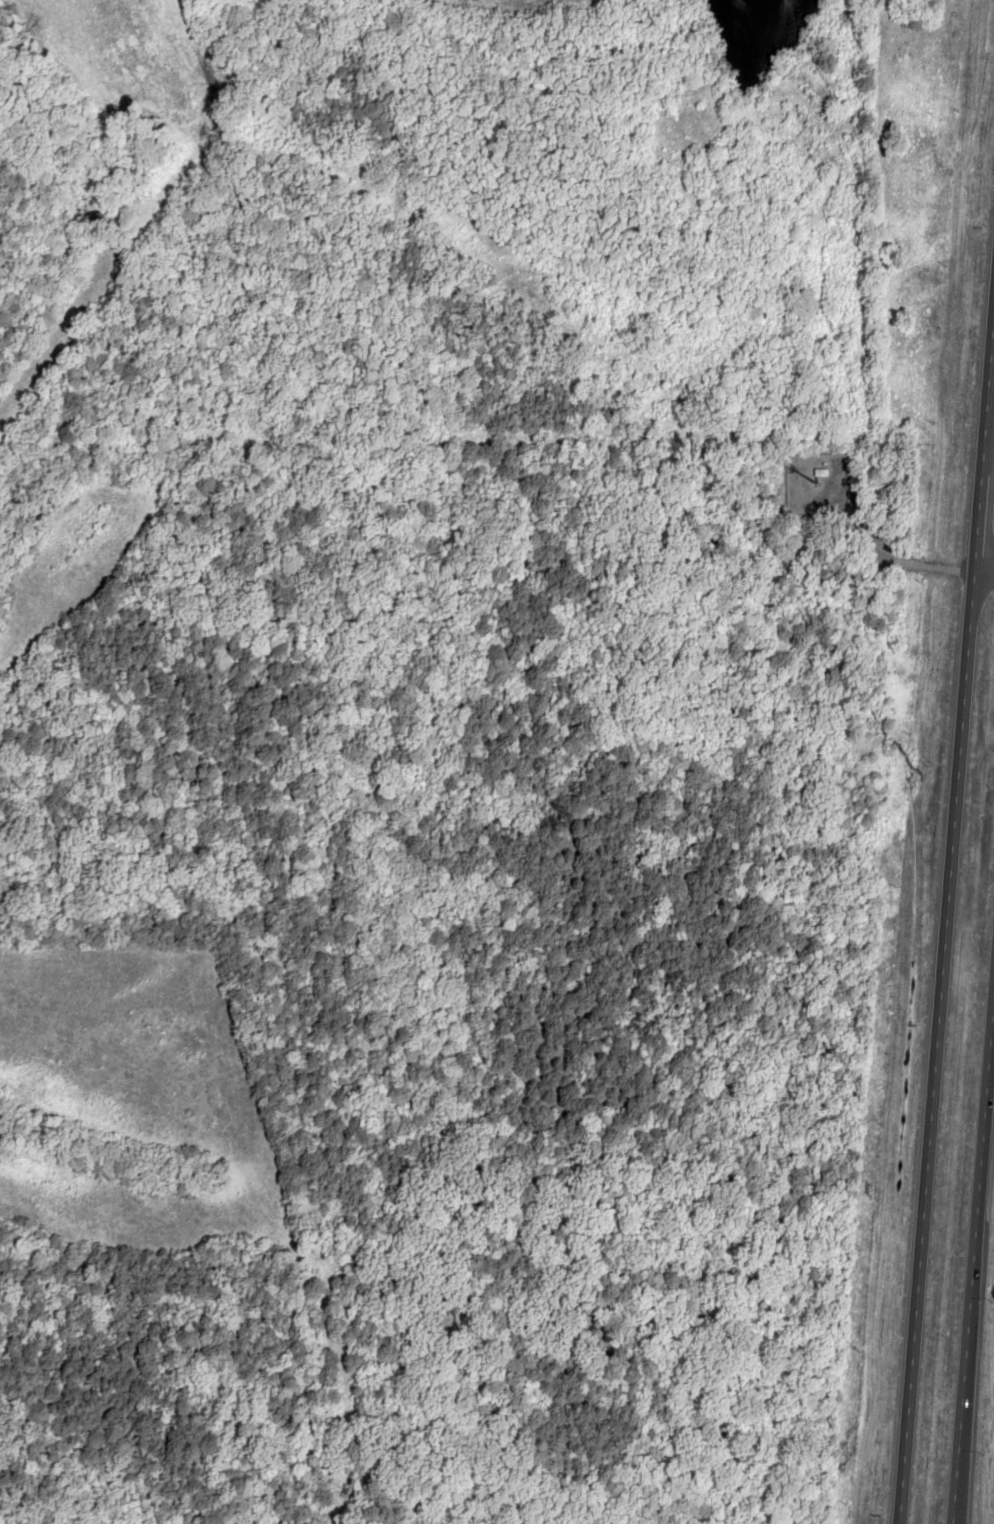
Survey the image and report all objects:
road: (944, 912)
road: (975, 1239)

